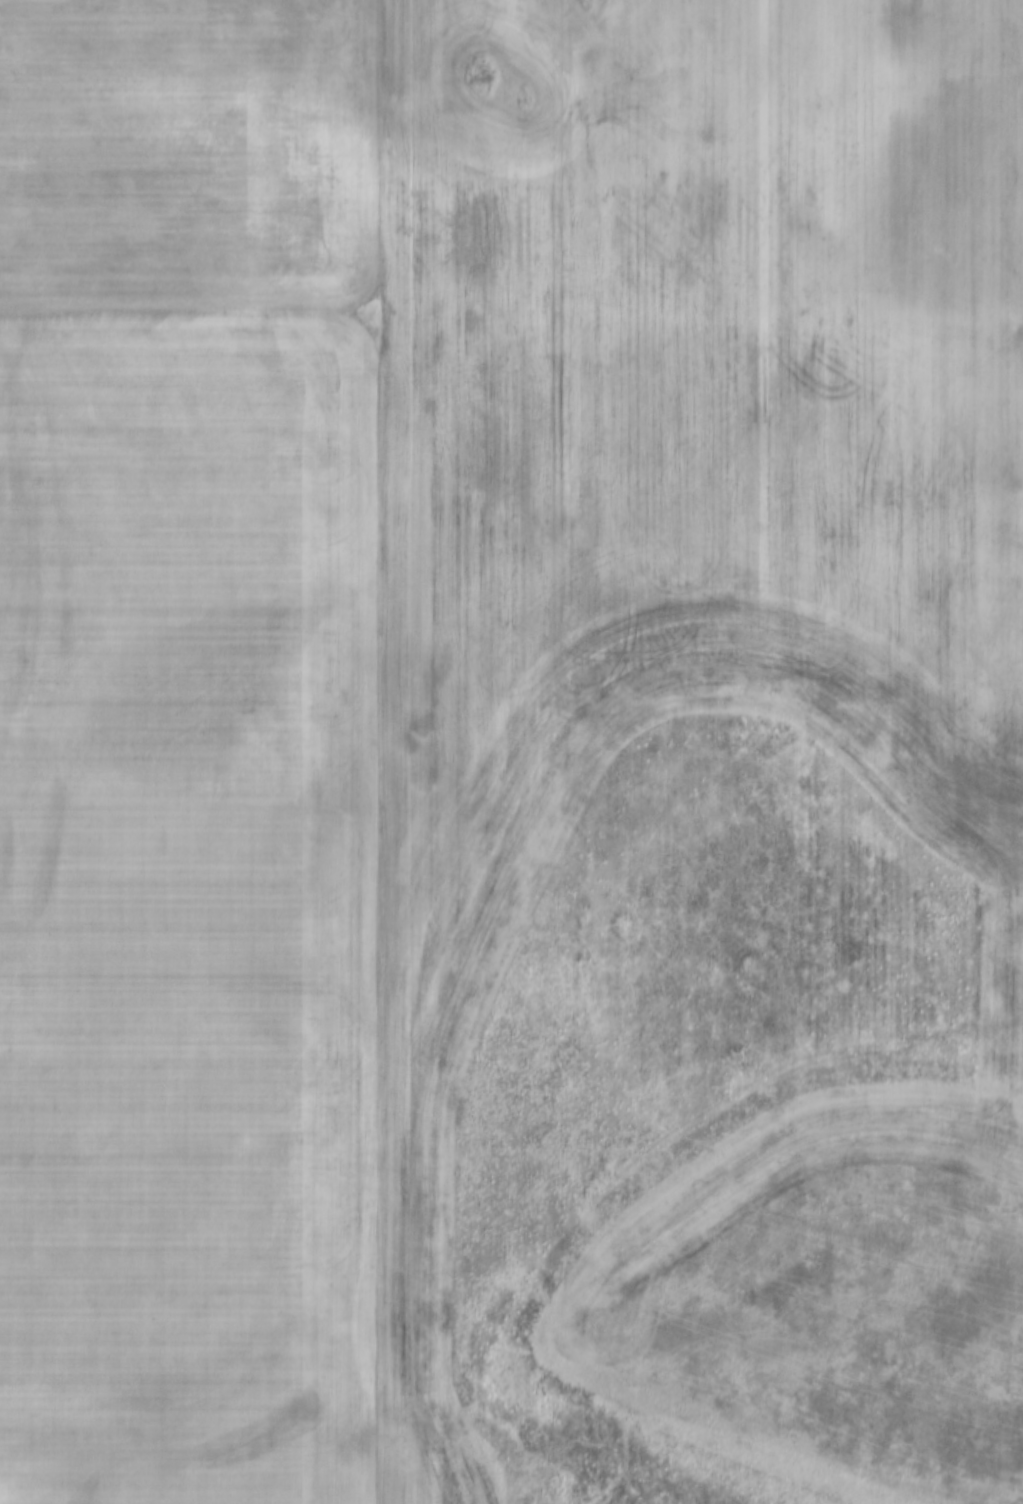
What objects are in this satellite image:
road: (191, 318)
road: (379, 751)

